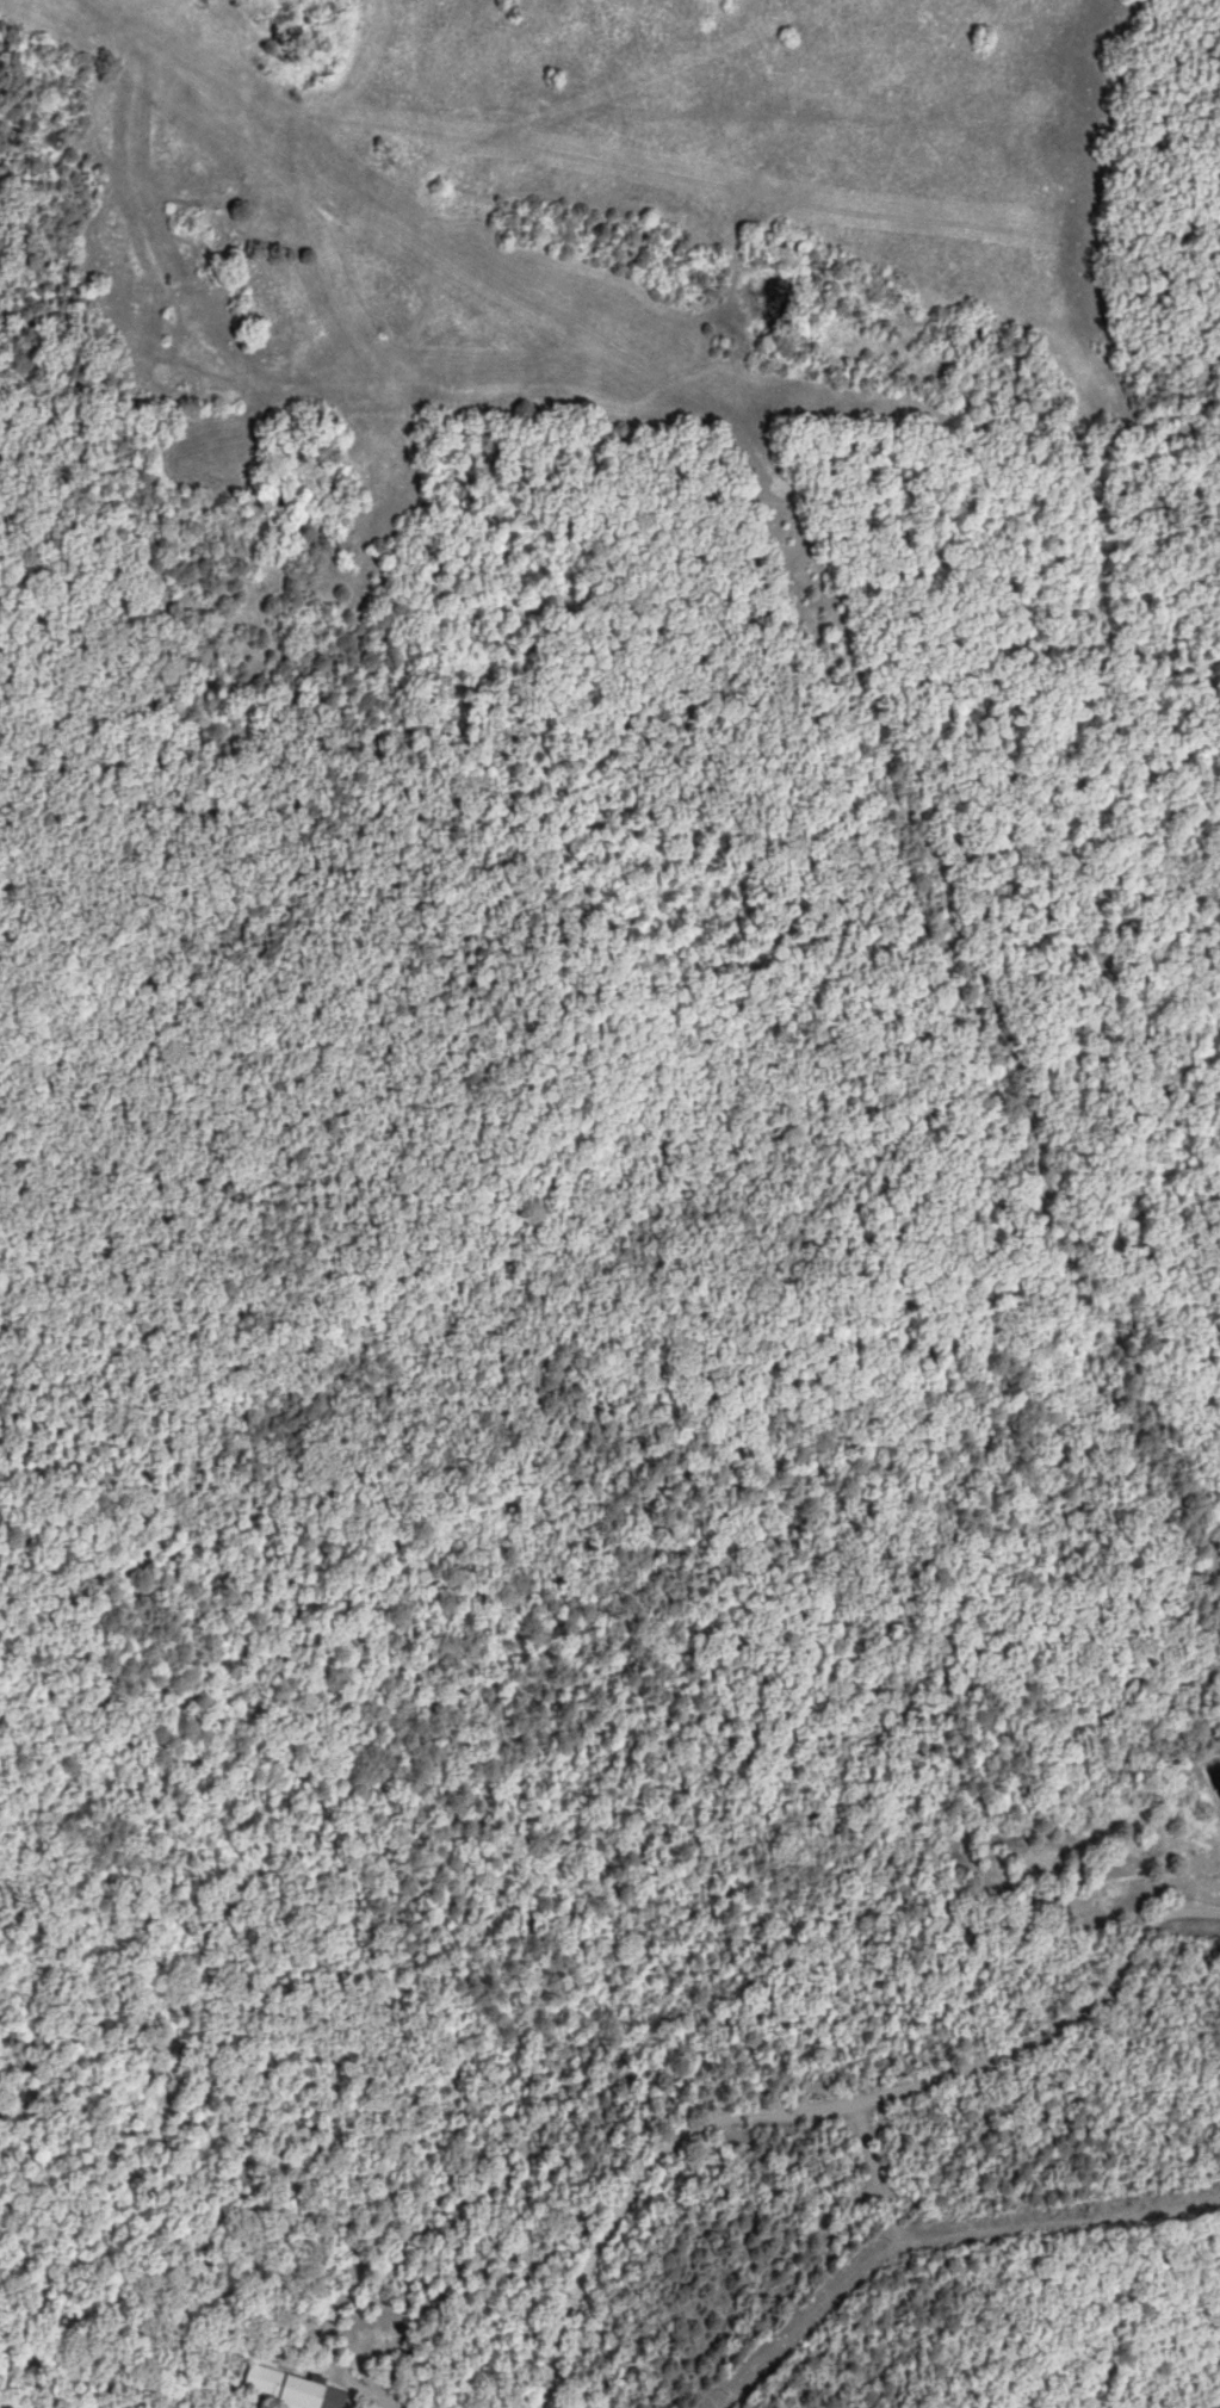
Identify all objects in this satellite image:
road: (822, 2106)
building: (290, 2389)
road: (371, 2396)
road: (1209, 2401)

